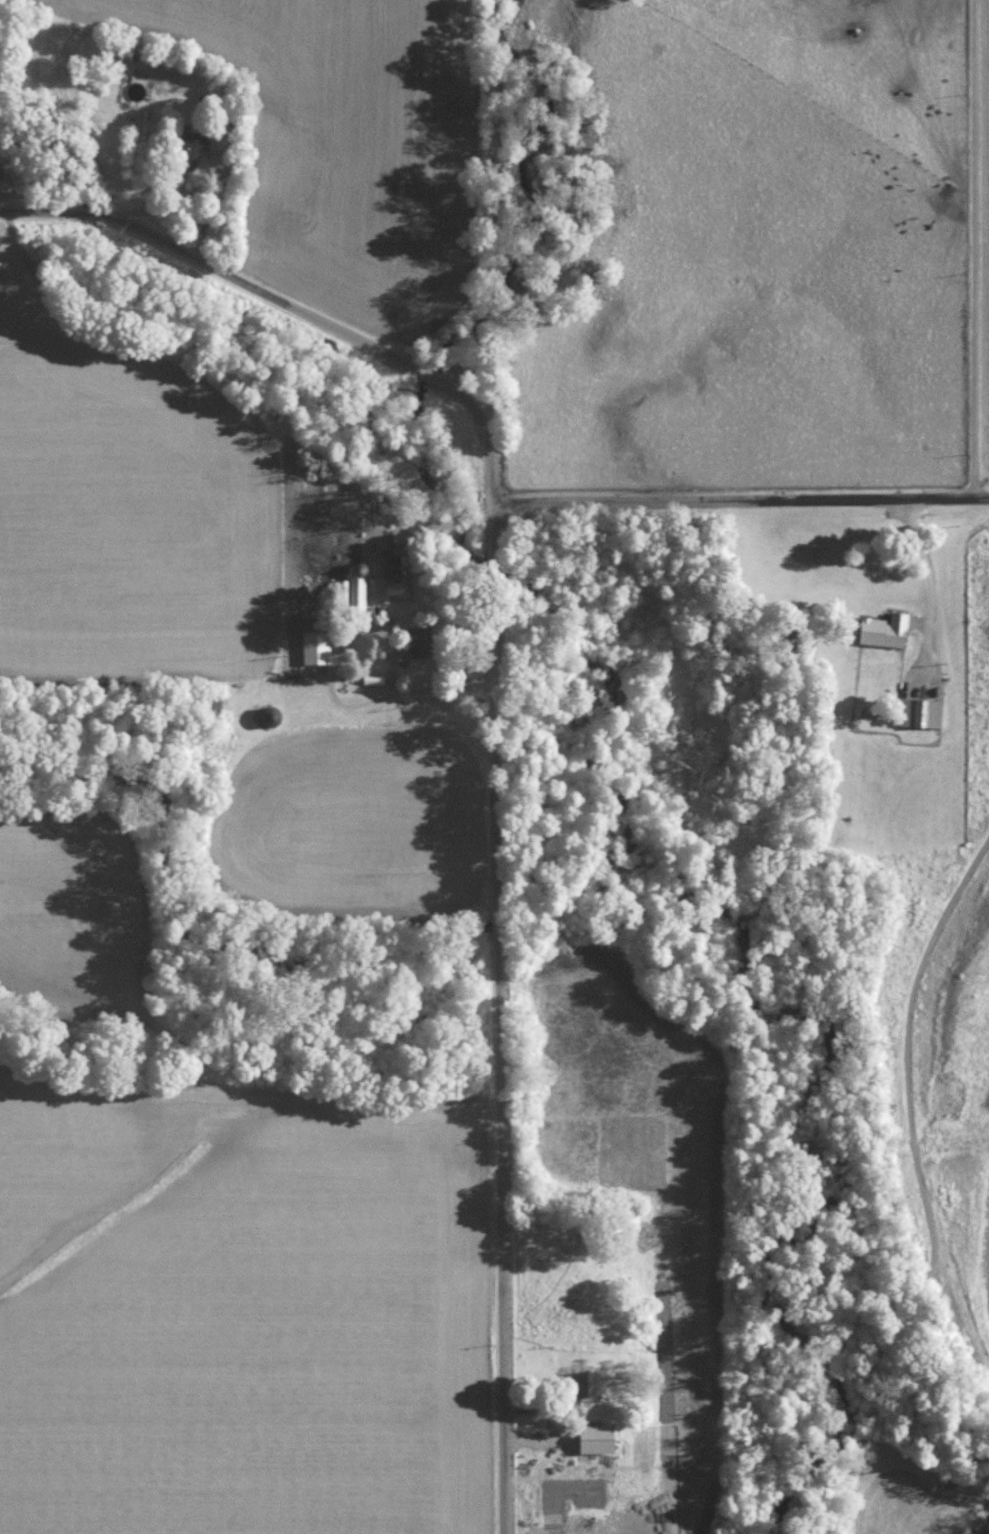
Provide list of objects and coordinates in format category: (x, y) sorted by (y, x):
building: (196, 139)
road: (983, 247)
road: (294, 303)
road: (742, 502)
road: (924, 550)
building: (360, 592)
building: (887, 630)
building: (424, 641)
building: (319, 647)
road: (332, 697)
building: (922, 712)
road: (500, 1020)
road: (907, 1093)
building: (588, 1382)
building: (600, 1438)

